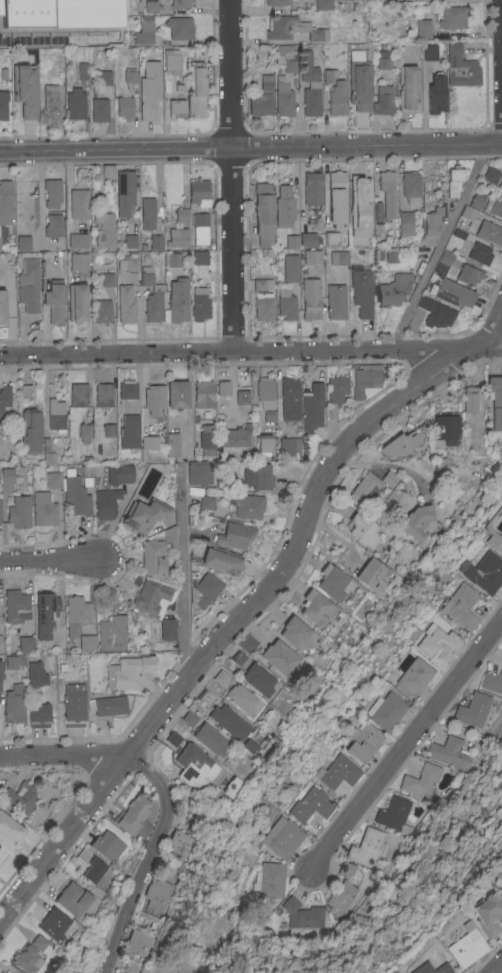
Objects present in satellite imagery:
building: (407, 0)
building: (277, 2)
building: (179, 3)
building: (322, 4)
building: (150, 6)
building: (58, 13)
building: (452, 17)
building: (179, 27)
building: (292, 28)
building: (423, 28)
building: (143, 33)
building: (429, 52)
building: (287, 56)
building: (359, 56)
building: (382, 59)
building: (171, 60)
building: (460, 67)
building: (82, 70)
road: (501, 71)
building: (129, 75)
building: (328, 75)
building: (103, 77)
building: (266, 81)
building: (310, 84)
building: (358, 86)
building: (407, 87)
building: (26, 89)
building: (149, 90)
building: (196, 90)
building: (435, 94)
building: (50, 98)
building: (336, 98)
building: (283, 99)
building: (383, 100)
building: (74, 103)
building: (259, 103)
building: (3, 105)
building: (124, 107)
building: (176, 108)
building: (99, 109)
road: (251, 148)
building: (107, 171)
road: (230, 175)
building: (490, 175)
building: (454, 180)
building: (500, 183)
building: (312, 188)
building: (410, 188)
building: (52, 192)
building: (124, 192)
building: (198, 192)
building: (387, 192)
road: (40, 199)
building: (336, 200)
building: (477, 201)
building: (5, 202)
building: (78, 203)
building: (494, 204)
building: (284, 206)
building: (359, 206)
building: (377, 211)
building: (147, 212)
building: (263, 213)
building: (181, 214)
building: (469, 216)
building: (199, 222)
building: (432, 222)
building: (405, 223)
building: (53, 226)
building: (103, 230)
building: (489, 231)
building: (457, 234)
building: (177, 237)
building: (331, 238)
building: (76, 240)
building: (301, 240)
building: (130, 241)
building: (23, 242)
building: (156, 242)
road: (440, 244)
building: (479, 252)
building: (391, 255)
building: (199, 257)
building: (312, 257)
building: (445, 257)
building: (341, 258)
building: (170, 260)
building: (77, 262)
building: (128, 263)
building: (290, 268)
building: (468, 275)
building: (106, 280)
building: (29, 285)
building: (361, 289)
building: (392, 289)
building: (451, 292)
building: (151, 296)
building: (177, 296)
building: (262, 298)
building: (310, 298)
building: (54, 301)
building: (335, 301)
building: (76, 303)
building: (286, 303)
building: (125, 304)
building: (199, 304)
building: (2, 305)
building: (101, 310)
building: (435, 312)
road: (251, 351)
building: (365, 379)
building: (223, 388)
building: (127, 389)
building: (26, 391)
building: (265, 392)
building: (335, 392)
building: (203, 393)
building: (78, 394)
building: (102, 394)
building: (176, 394)
building: (4, 397)
building: (289, 398)
building: (154, 399)
building: (470, 399)
building: (495, 403)
building: (312, 407)
building: (55, 415)
building: (269, 416)
building: (446, 428)
building: (30, 430)
building: (108, 430)
building: (129, 431)
building: (84, 432)
building: (206, 439)
building: (149, 442)
building: (399, 444)
building: (172, 445)
building: (289, 445)
building: (263, 447)
building: (230, 451)
building: (47, 452)
road: (383, 463)
building: (86, 471)
building: (119, 474)
building: (198, 474)
building: (6, 475)
building: (258, 476)
building: (389, 477)
building: (53, 479)
building: (364, 488)
building: (75, 494)
building: (201, 497)
building: (105, 502)
building: (247, 506)
building: (44, 509)
building: (18, 511)
building: (145, 515)
building: (416, 521)
building: (363, 529)
building: (234, 535)
building: (170, 537)
building: (491, 538)
building: (152, 557)
road: (50, 560)
building: (219, 561)
building: (483, 572)
road: (181, 575)
building: (371, 575)
building: (332, 582)
building: (204, 590)
building: (151, 598)
road: (257, 605)
building: (16, 606)
building: (459, 606)
building: (316, 607)
building: (45, 613)
building: (76, 614)
building: (435, 623)
building: (167, 629)
building: (113, 633)
building: (297, 634)
building: (434, 640)
building: (86, 642)
building: (0, 643)
building: (25, 643)
building: (278, 656)
building: (238, 657)
building: (10, 661)
building: (128, 671)
building: (35, 674)
building: (410, 675)
building: (222, 677)
building: (258, 678)
building: (492, 681)
building: (205, 697)
building: (240, 697)
building: (13, 703)
building: (73, 705)
building: (107, 706)
building: (473, 709)
building: (383, 711)
building: (38, 715)
building: (190, 718)
building: (229, 721)
building: (174, 738)
building: (211, 739)
building: (360, 742)
building: (249, 745)
road: (403, 750)
building: (449, 752)
road: (64, 755)
building: (195, 766)
building: (334, 772)
building: (421, 780)
building: (231, 786)
building: (19, 797)
building: (307, 805)
building: (394, 814)
building: (134, 816)
building: (9, 831)
building: (280, 837)
building: (180, 843)
building: (106, 845)
building: (366, 847)
road: (148, 859)
building: (91, 865)
building: (500, 875)
building: (267, 880)
building: (343, 888)
building: (159, 894)
building: (73, 898)
building: (488, 912)
building: (303, 914)
building: (54, 923)
building: (139, 943)
building: (466, 945)
building: (30, 955)
road: (488, 958)
building: (430, 968)
building: (1, 972)
building: (69, 972)
building: (123, 972)

